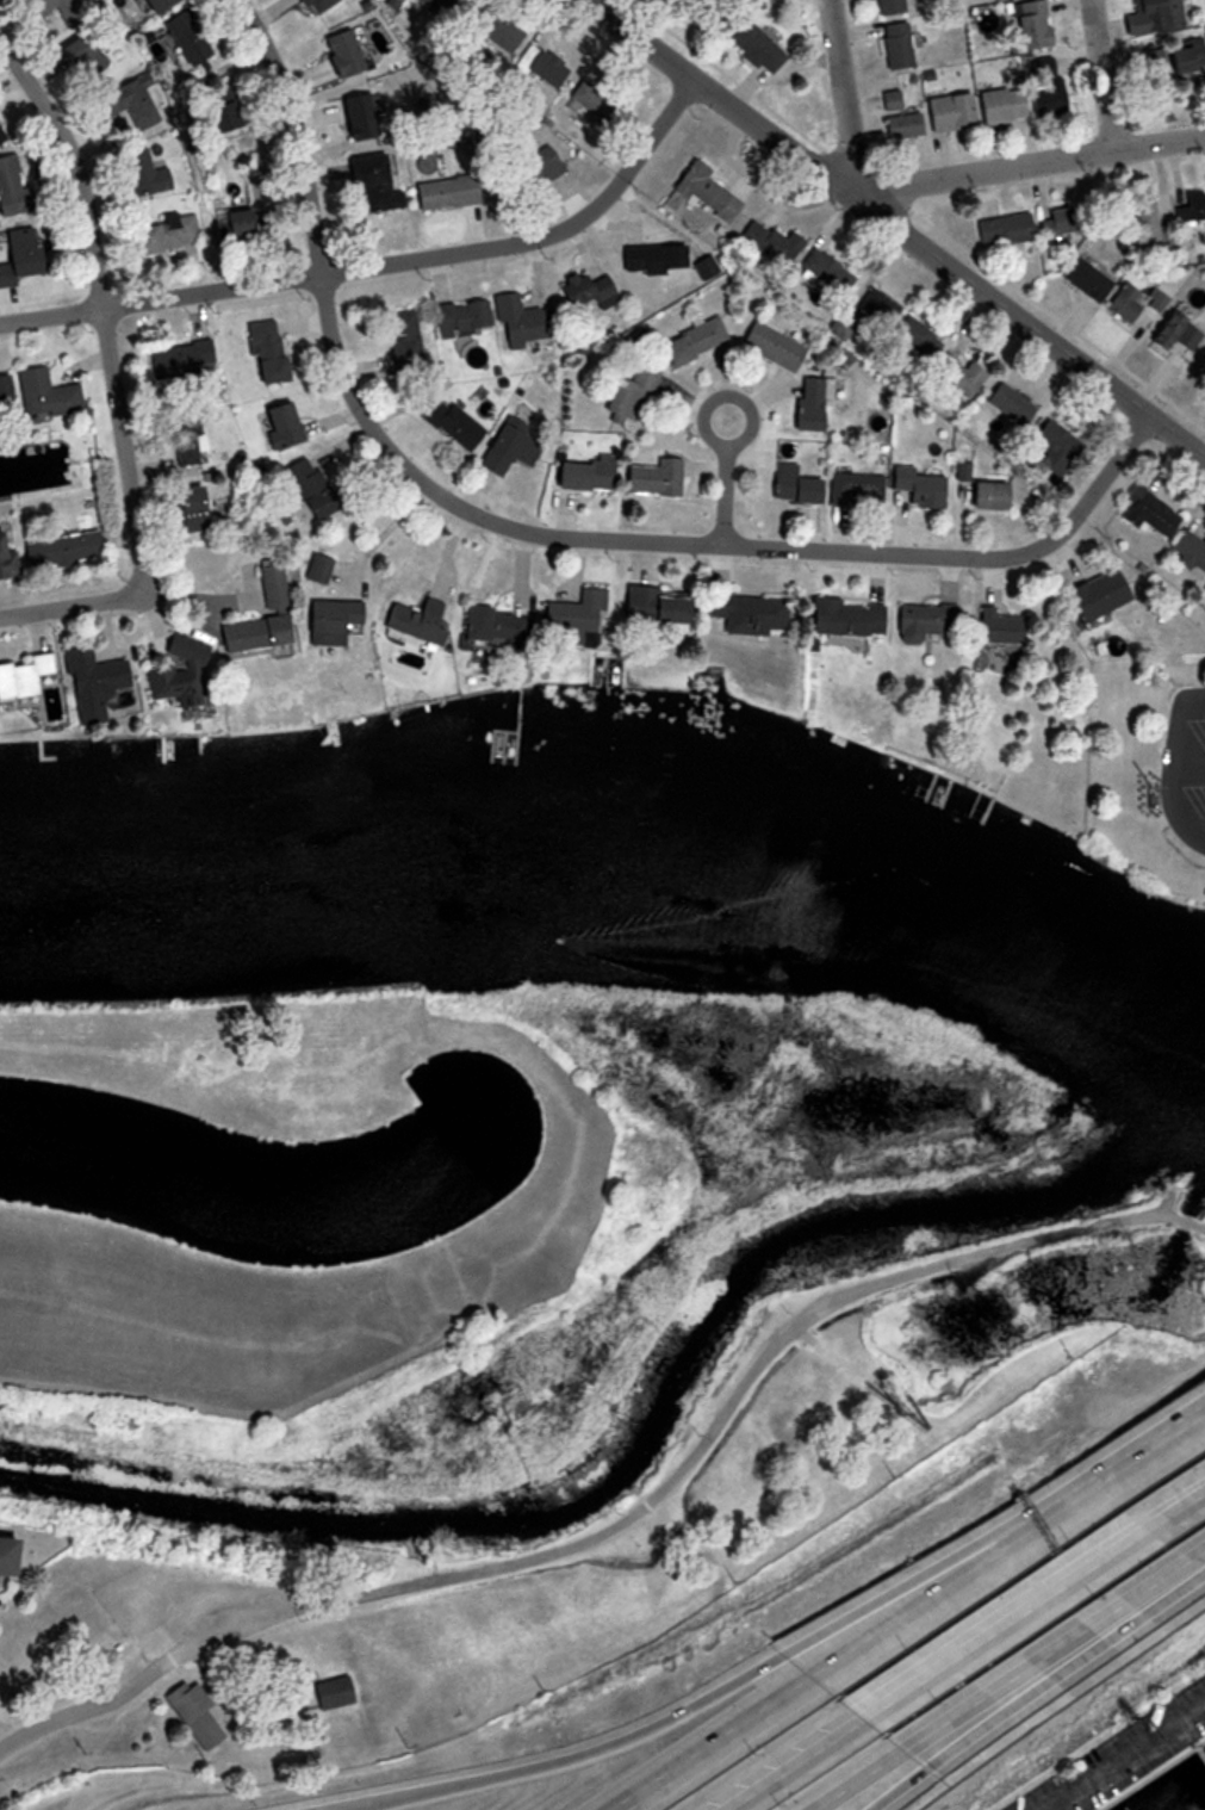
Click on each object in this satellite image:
building: (685, 0)
building: (670, 2)
building: (749, 4)
building: (153, 5)
building: (315, 6)
building: (439, 7)
building: (888, 7)
building: (61, 11)
building: (1154, 16)
building: (1031, 24)
building: (491, 27)
building: (184, 38)
building: (895, 45)
building: (754, 48)
building: (340, 54)
building: (83, 55)
building: (1173, 60)
building: (540, 68)
road: (1105, 75)
building: (1046, 89)
road: (844, 97)
building: (892, 100)
building: (129, 101)
building: (595, 103)
building: (1000, 105)
building: (948, 112)
building: (218, 116)
building: (356, 116)
building: (900, 125)
road: (1031, 165)
building: (524, 172)
building: (143, 173)
building: (367, 184)
building: (11, 188)
building: (704, 192)
building: (443, 193)
building: (1194, 204)
building: (1142, 219)
building: (1062, 222)
building: (242, 224)
road: (900, 225)
building: (1004, 229)
building: (164, 234)
building: (770, 241)
building: (17, 255)
building: (660, 259)
road: (383, 264)
building: (827, 271)
building: (1085, 278)
building: (584, 293)
building: (1135, 302)
road: (93, 306)
building: (877, 308)
building: (460, 316)
building: (517, 322)
building: (1174, 335)
building: (917, 336)
building: (402, 342)
building: (698, 343)
building: (265, 352)
building: (779, 353)
building: (179, 360)
building: (957, 373)
building: (2, 391)
building: (43, 395)
building: (629, 397)
building: (809, 403)
building: (1008, 403)
road: (756, 413)
building: (448, 423)
building: (279, 424)
building: (181, 440)
building: (1051, 445)
building: (505, 451)
building: (580, 476)
building: (652, 478)
building: (917, 486)
building: (308, 488)
building: (795, 489)
building: (856, 489)
road: (728, 495)
building: (983, 496)
building: (187, 509)
building: (1149, 510)
road: (541, 533)
building: (61, 550)
building: (1190, 550)
building: (6, 563)
building: (273, 585)
building: (1094, 596)
road: (67, 603)
building: (650, 605)
building: (745, 613)
building: (844, 618)
building: (333, 619)
building: (570, 619)
building: (924, 620)
building: (411, 621)
building: (492, 626)
building: (996, 627)
building: (254, 633)
building: (176, 670)
building: (20, 675)
building: (89, 678)
road: (1187, 765)
road: (1168, 769)
road: (1191, 822)
river: (619, 885)
park: (441, 1197)
road: (1002, 1250)
park: (558, 1527)
road: (995, 1542)
building: (10, 1556)
road: (1025, 1556)
road: (440, 1580)
road: (1035, 1605)
road: (1057, 1660)
road: (91, 1682)
building: (328, 1692)
building: (192, 1711)
road: (747, 1742)
pier: (1200, 1748)
road: (1119, 1754)
road: (578, 1760)
road: (794, 1763)
road: (870, 1785)
road: (878, 1785)

